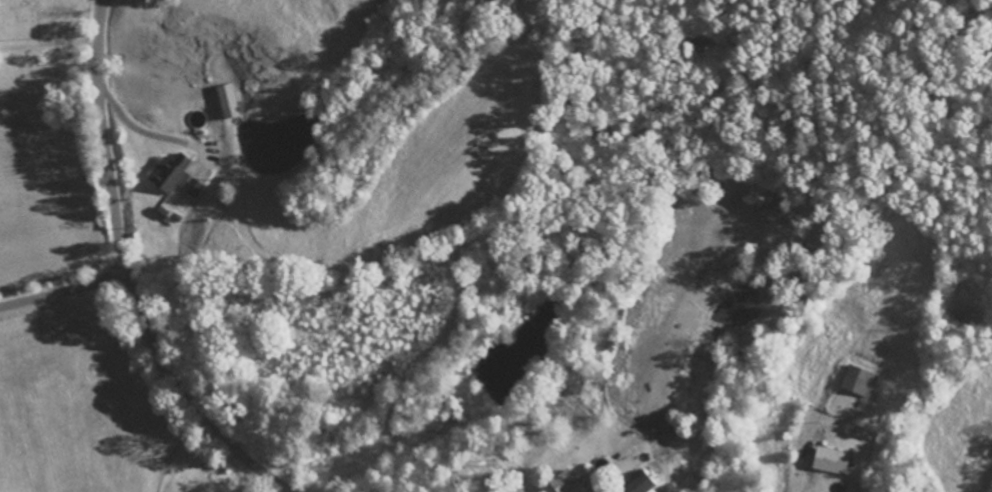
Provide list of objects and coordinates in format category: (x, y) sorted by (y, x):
building: (231, 103)
building: (174, 173)
building: (196, 189)
building: (759, 199)
road: (127, 275)
road: (64, 292)
building: (864, 381)
building: (835, 461)
road: (794, 477)
building: (574, 483)
building: (648, 484)

